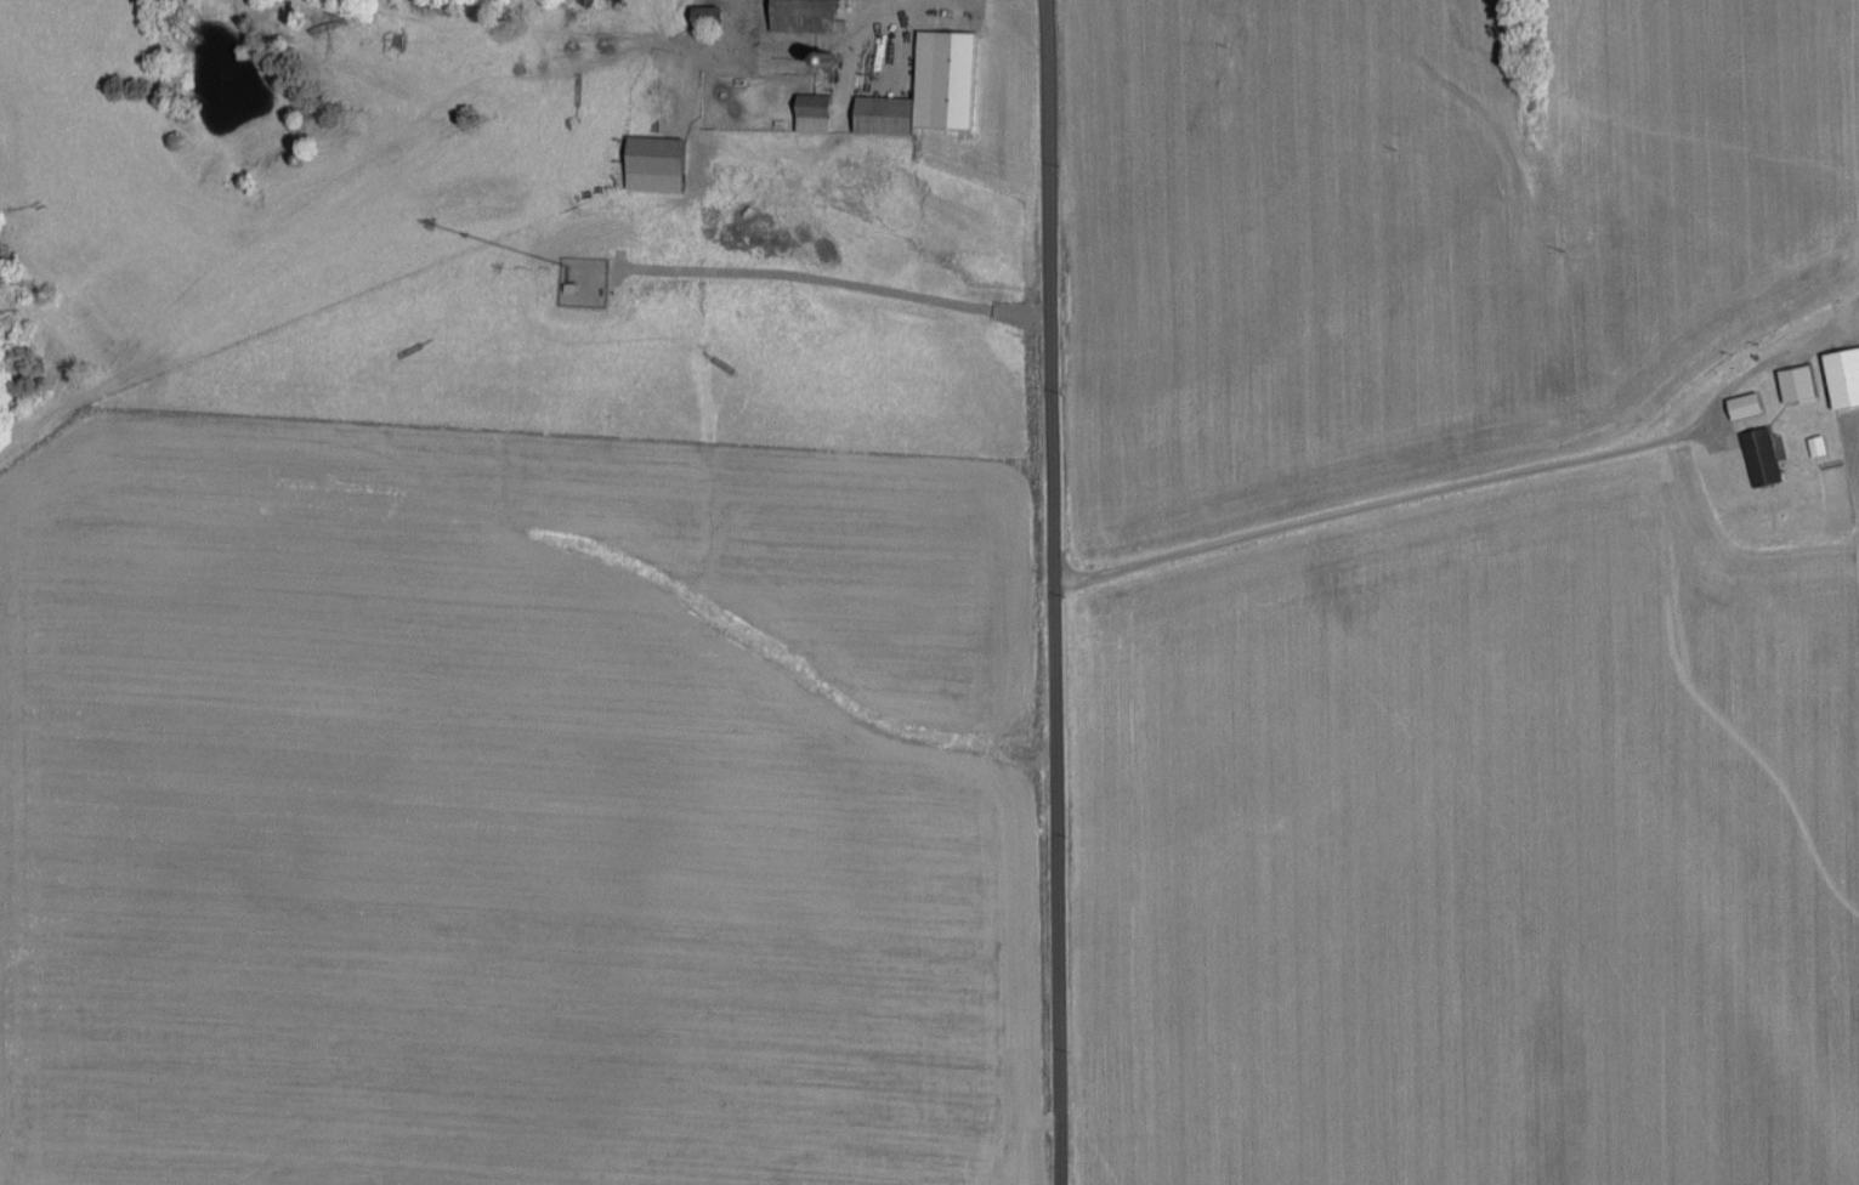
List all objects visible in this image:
building: (811, 15)
building: (934, 87)
building: (820, 110)
building: (662, 161)
building: (1803, 381)
building: (1750, 403)
building: (1821, 443)
building: (1766, 455)
road: (1429, 508)
road: (1049, 591)

